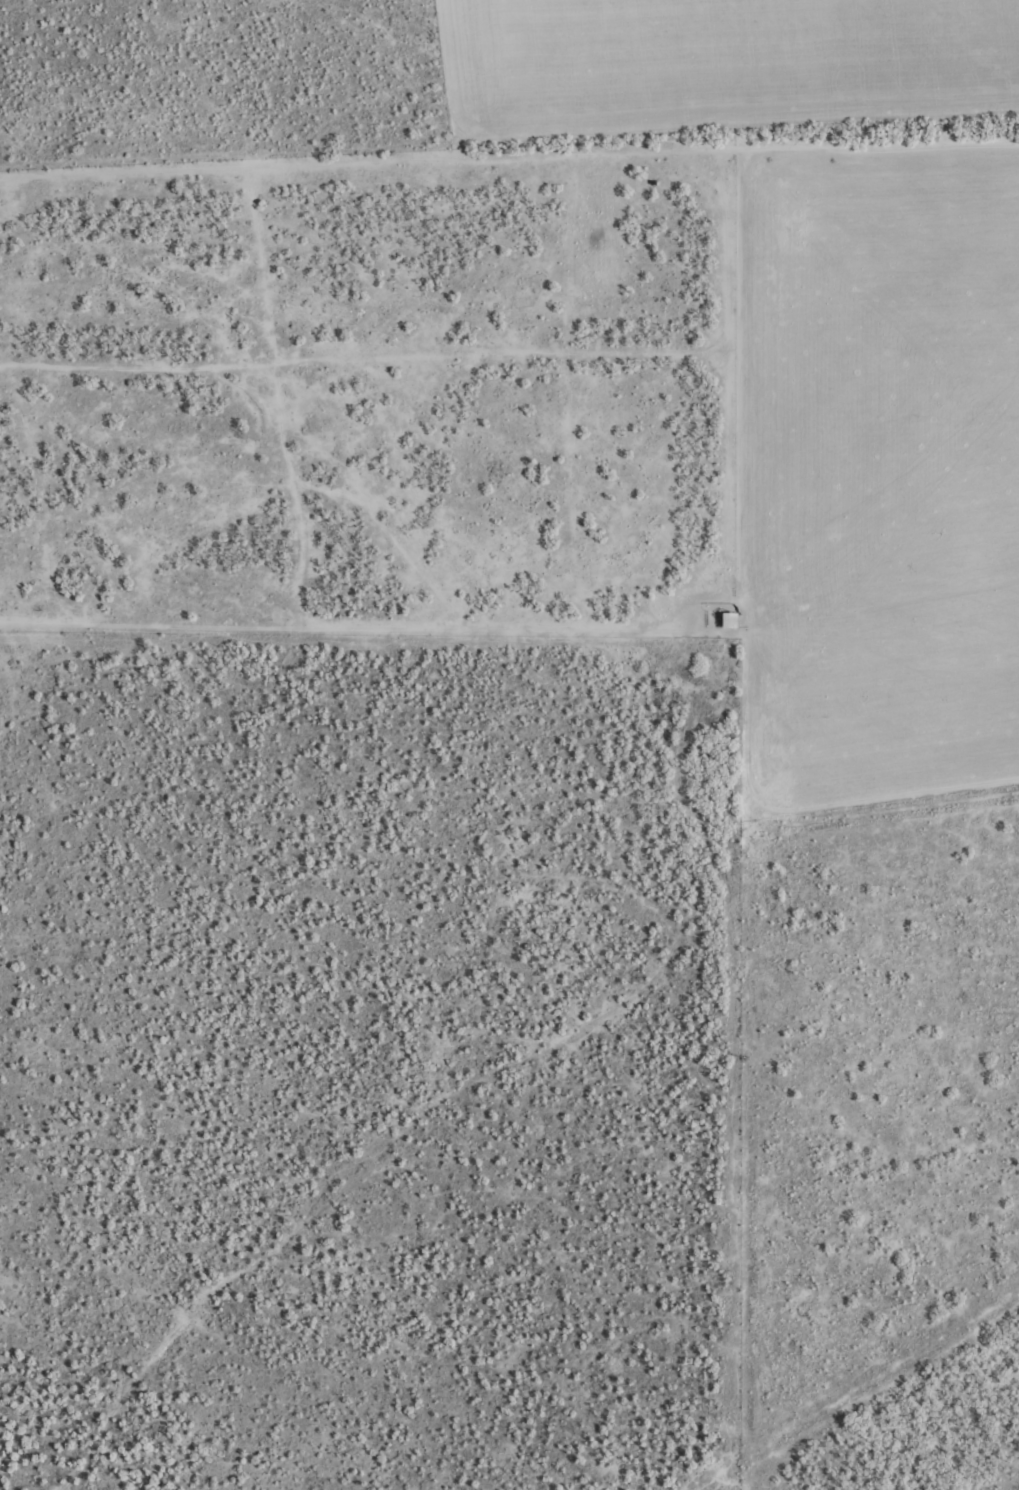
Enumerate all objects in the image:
building: (730, 620)

